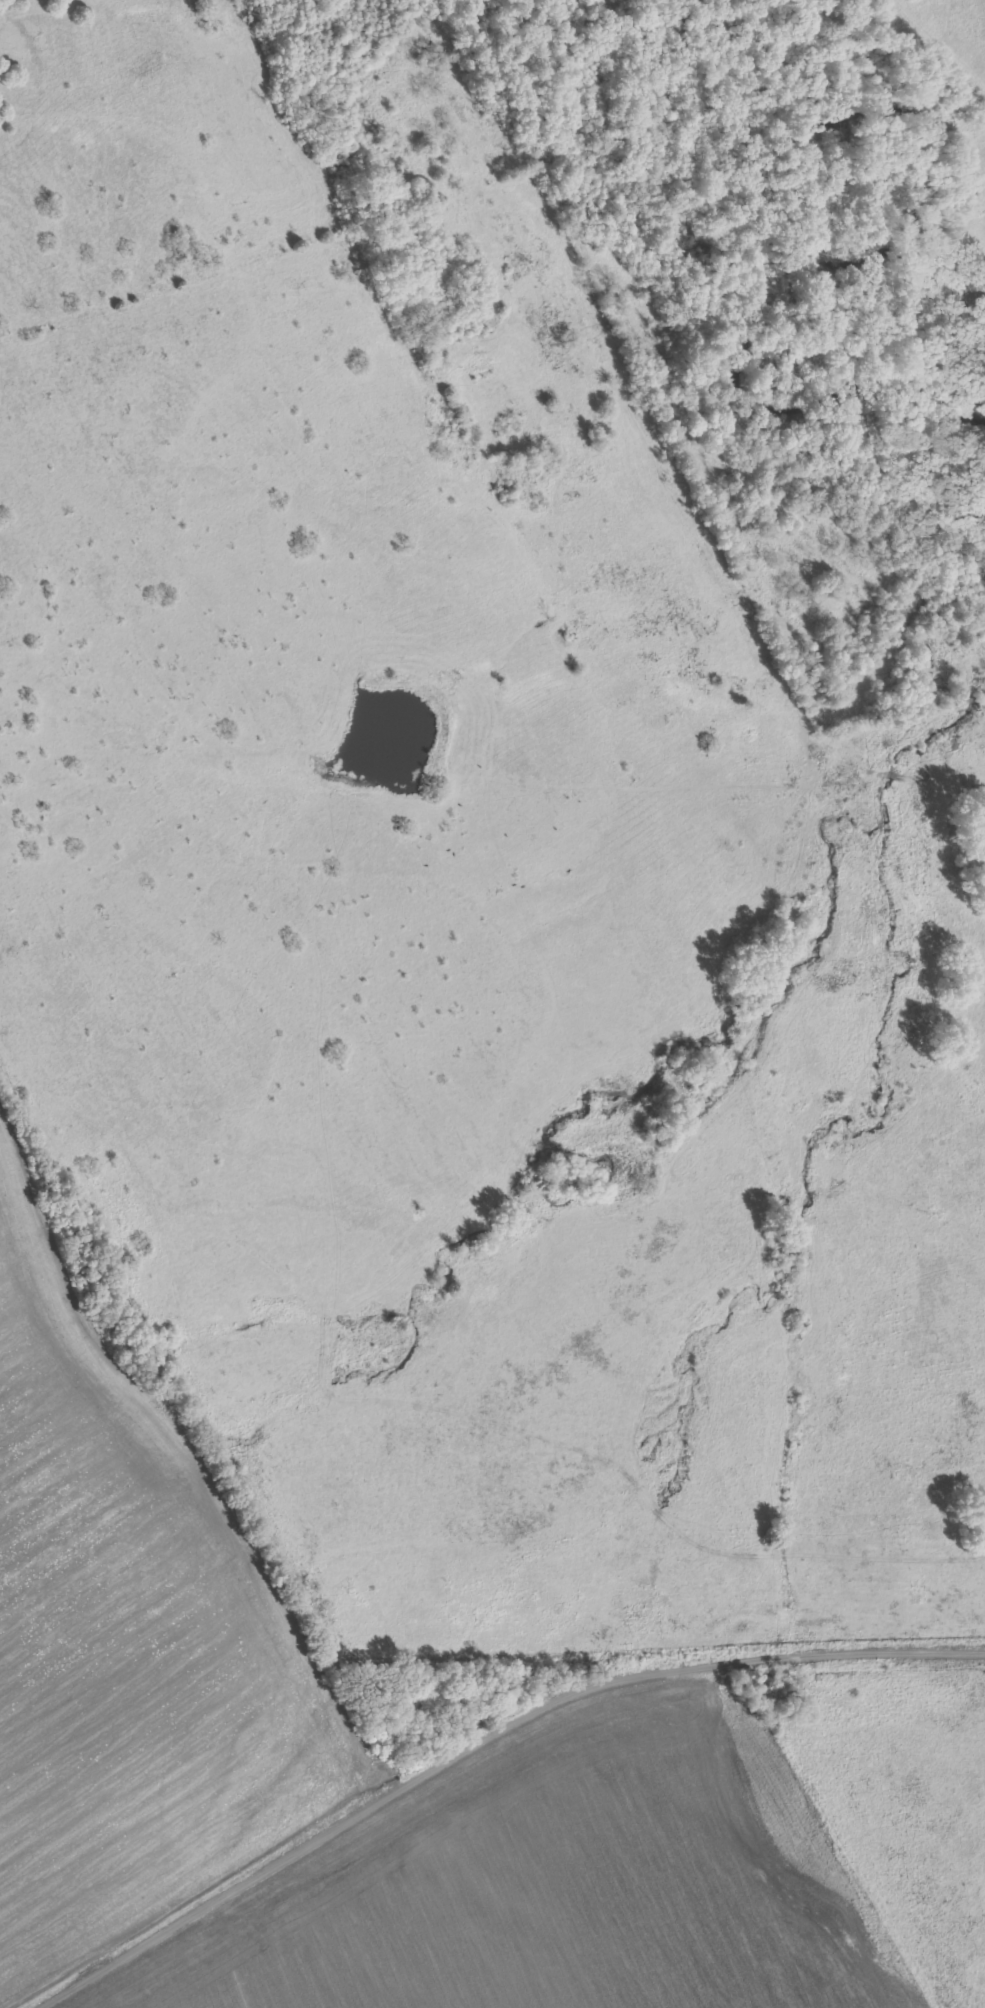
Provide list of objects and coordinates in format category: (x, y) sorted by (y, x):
road: (471, 1740)
road: (322, 1951)

